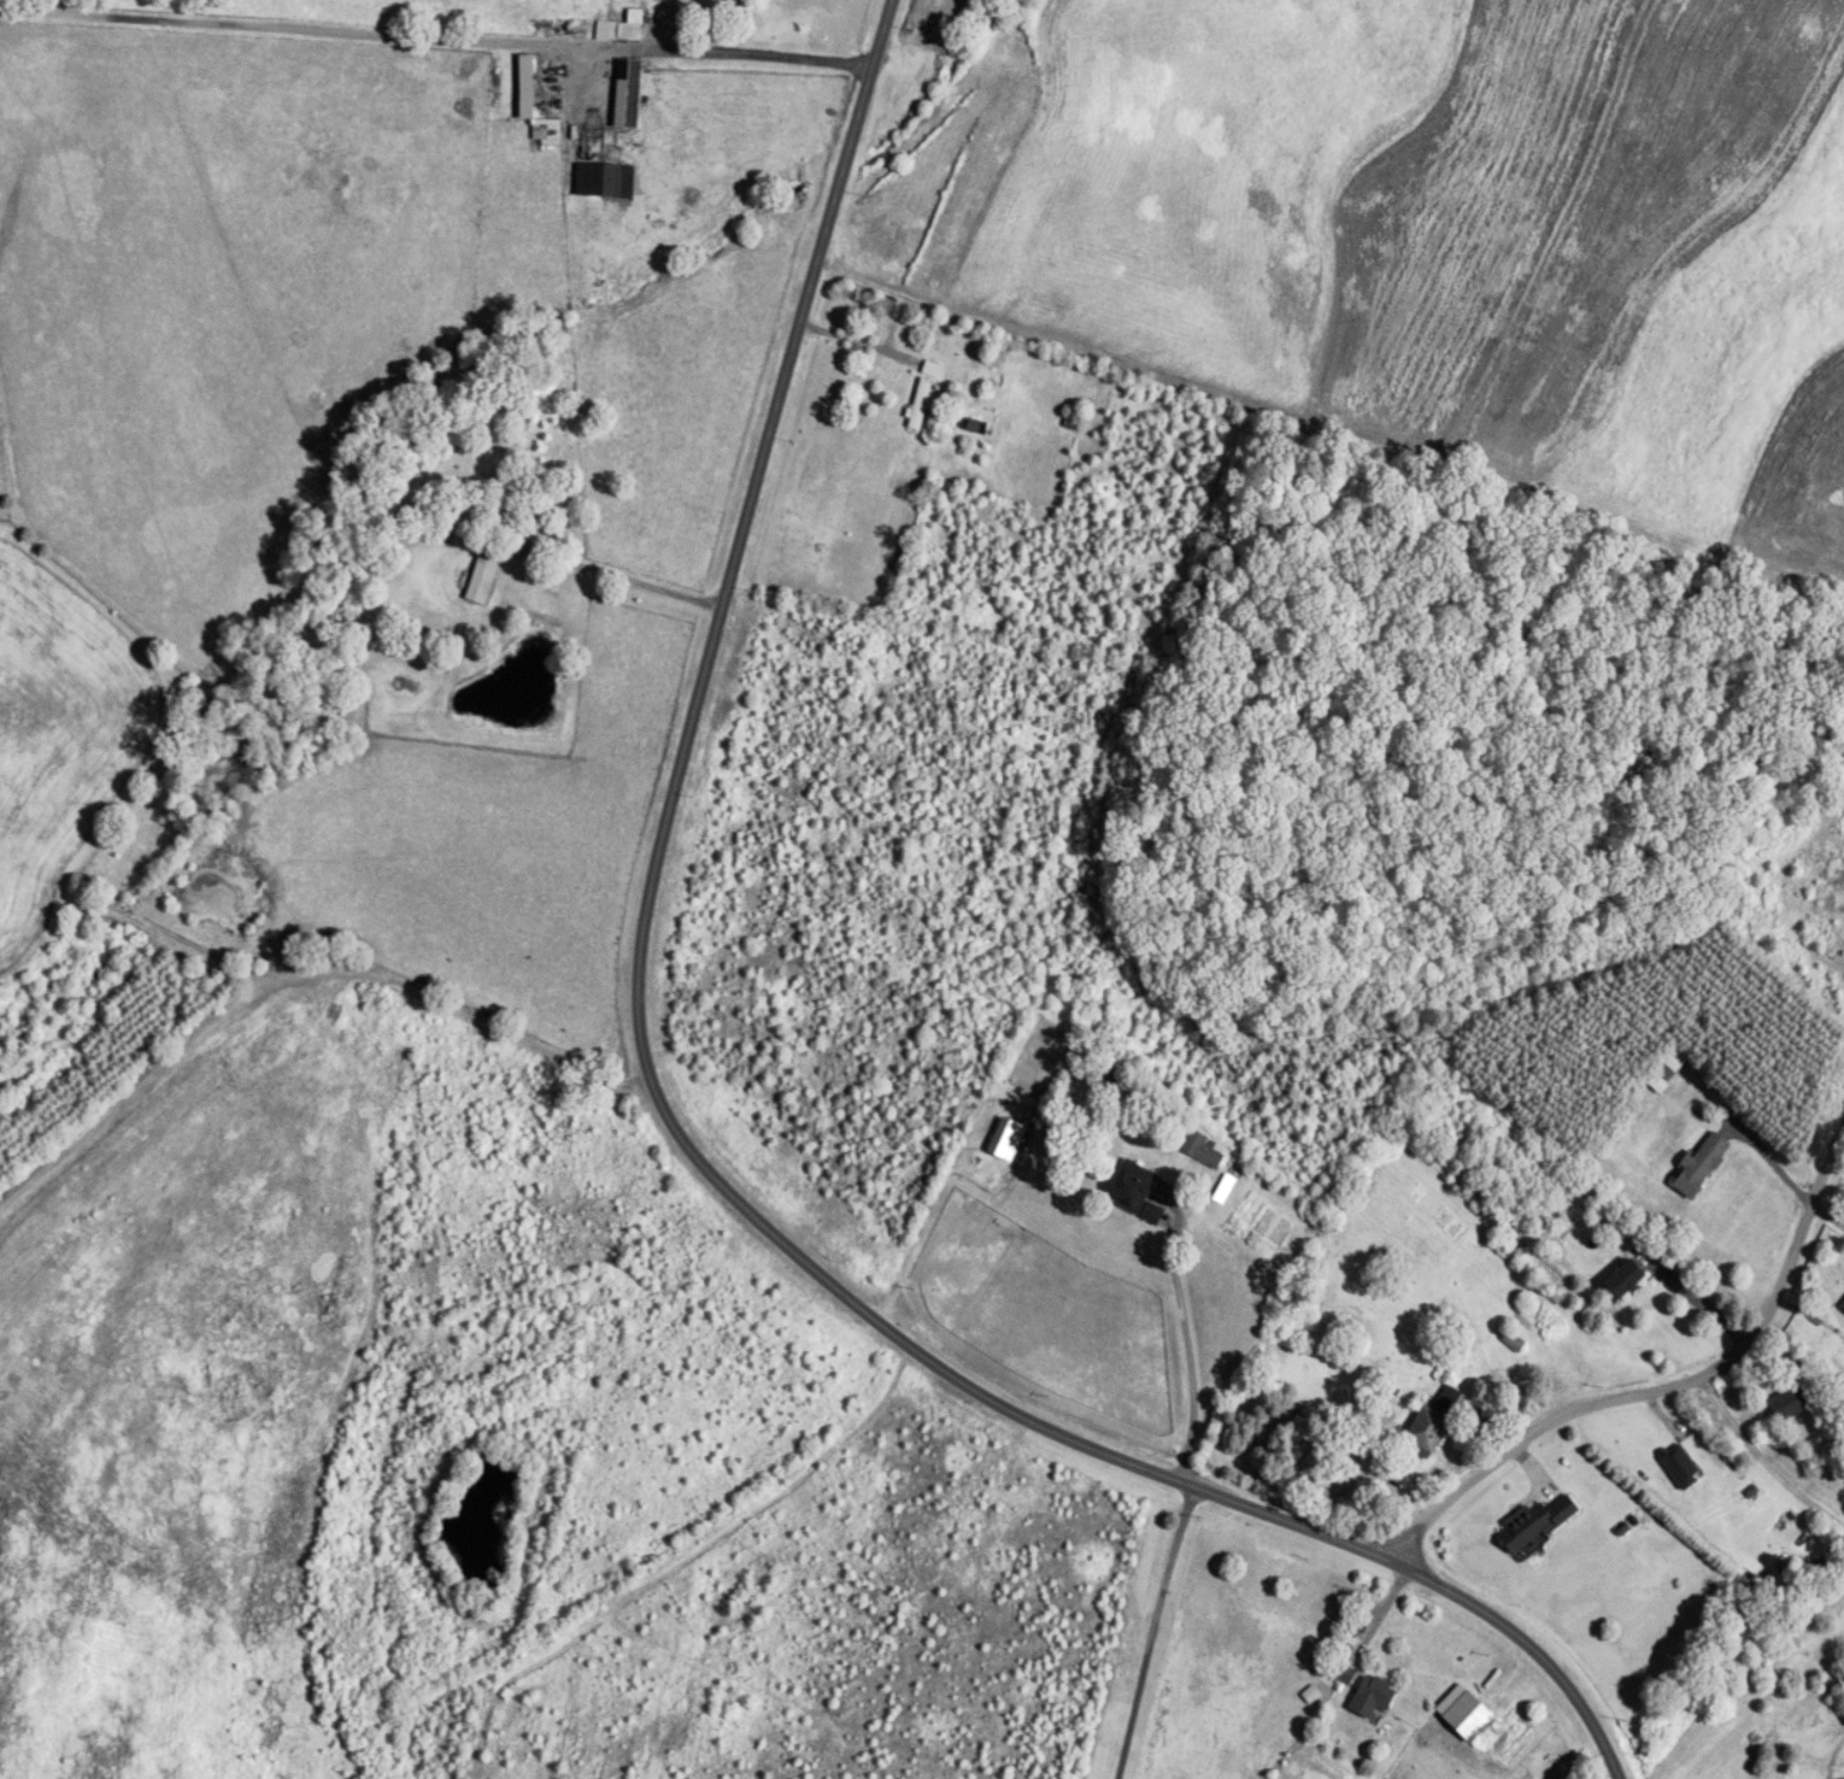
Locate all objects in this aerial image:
road: (435, 27)
building: (541, 86)
building: (604, 181)
road: (540, 554)
building: (482, 581)
building: (1669, 1063)
road: (677, 1128)
building: (1203, 1150)
building: (1699, 1167)
building: (1134, 1191)
building: (1626, 1279)
building: (1843, 1308)
road: (1187, 1346)
road: (1646, 1375)
building: (1789, 1402)
building: (1432, 1421)
road: (1761, 1444)
building: (1680, 1464)
building: (1538, 1521)
road: (1157, 1633)
building: (1344, 1674)
building: (1373, 1696)
building: (1466, 1713)

